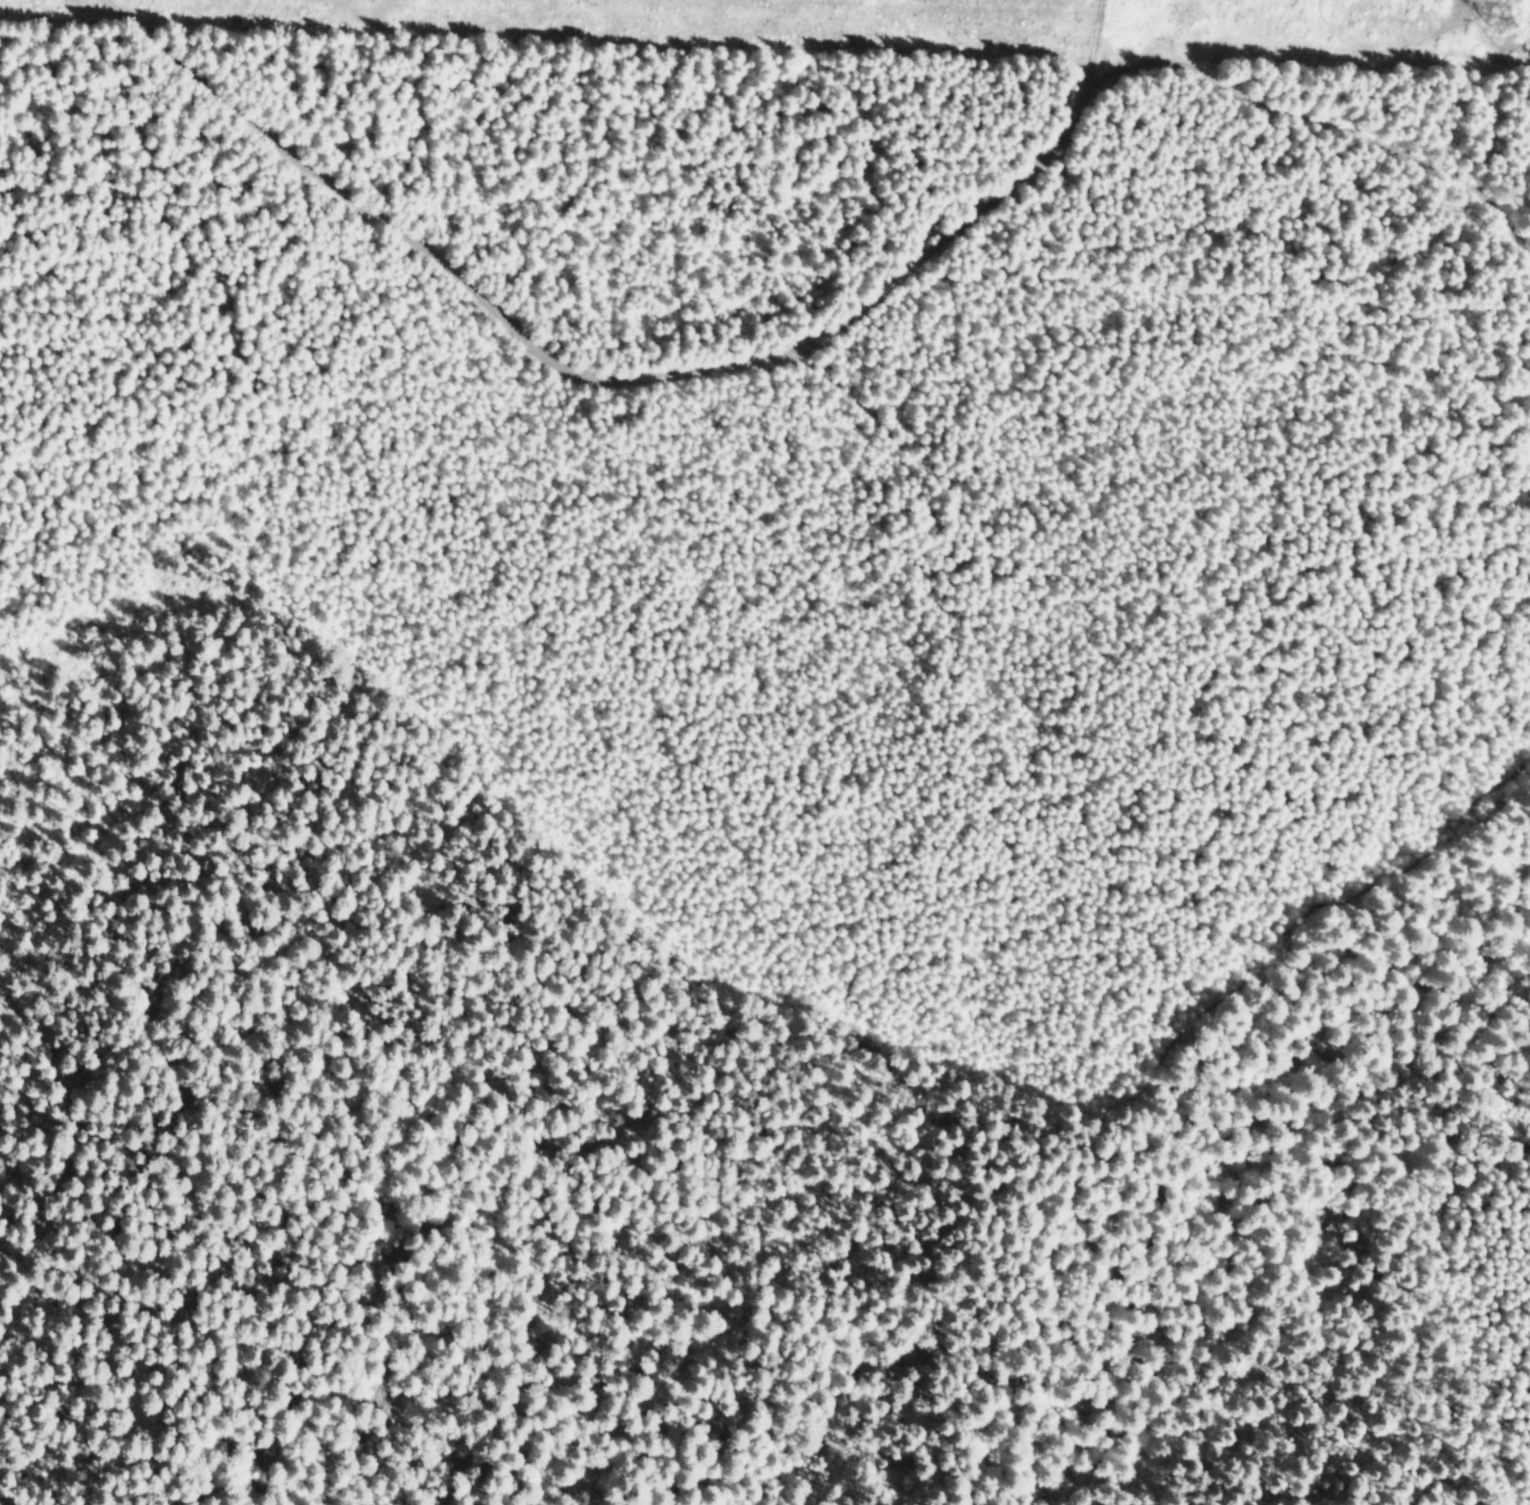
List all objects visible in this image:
power tower: (1496, 25)
road: (837, 311)

